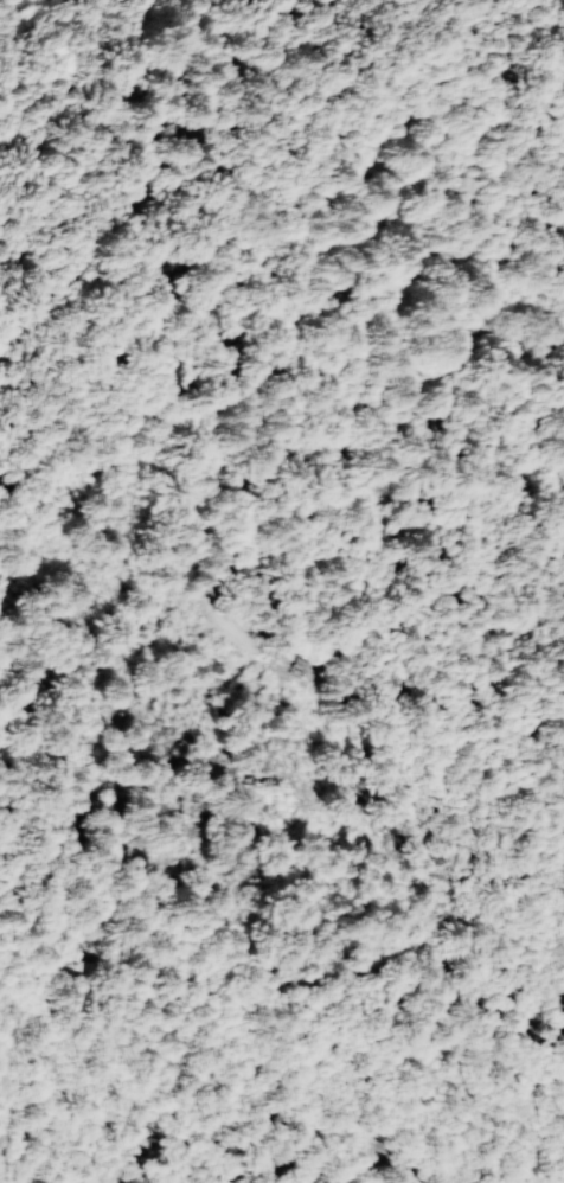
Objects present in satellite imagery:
road: (480, 692)
road: (425, 861)
road: (360, 1139)
road: (2, 1182)

